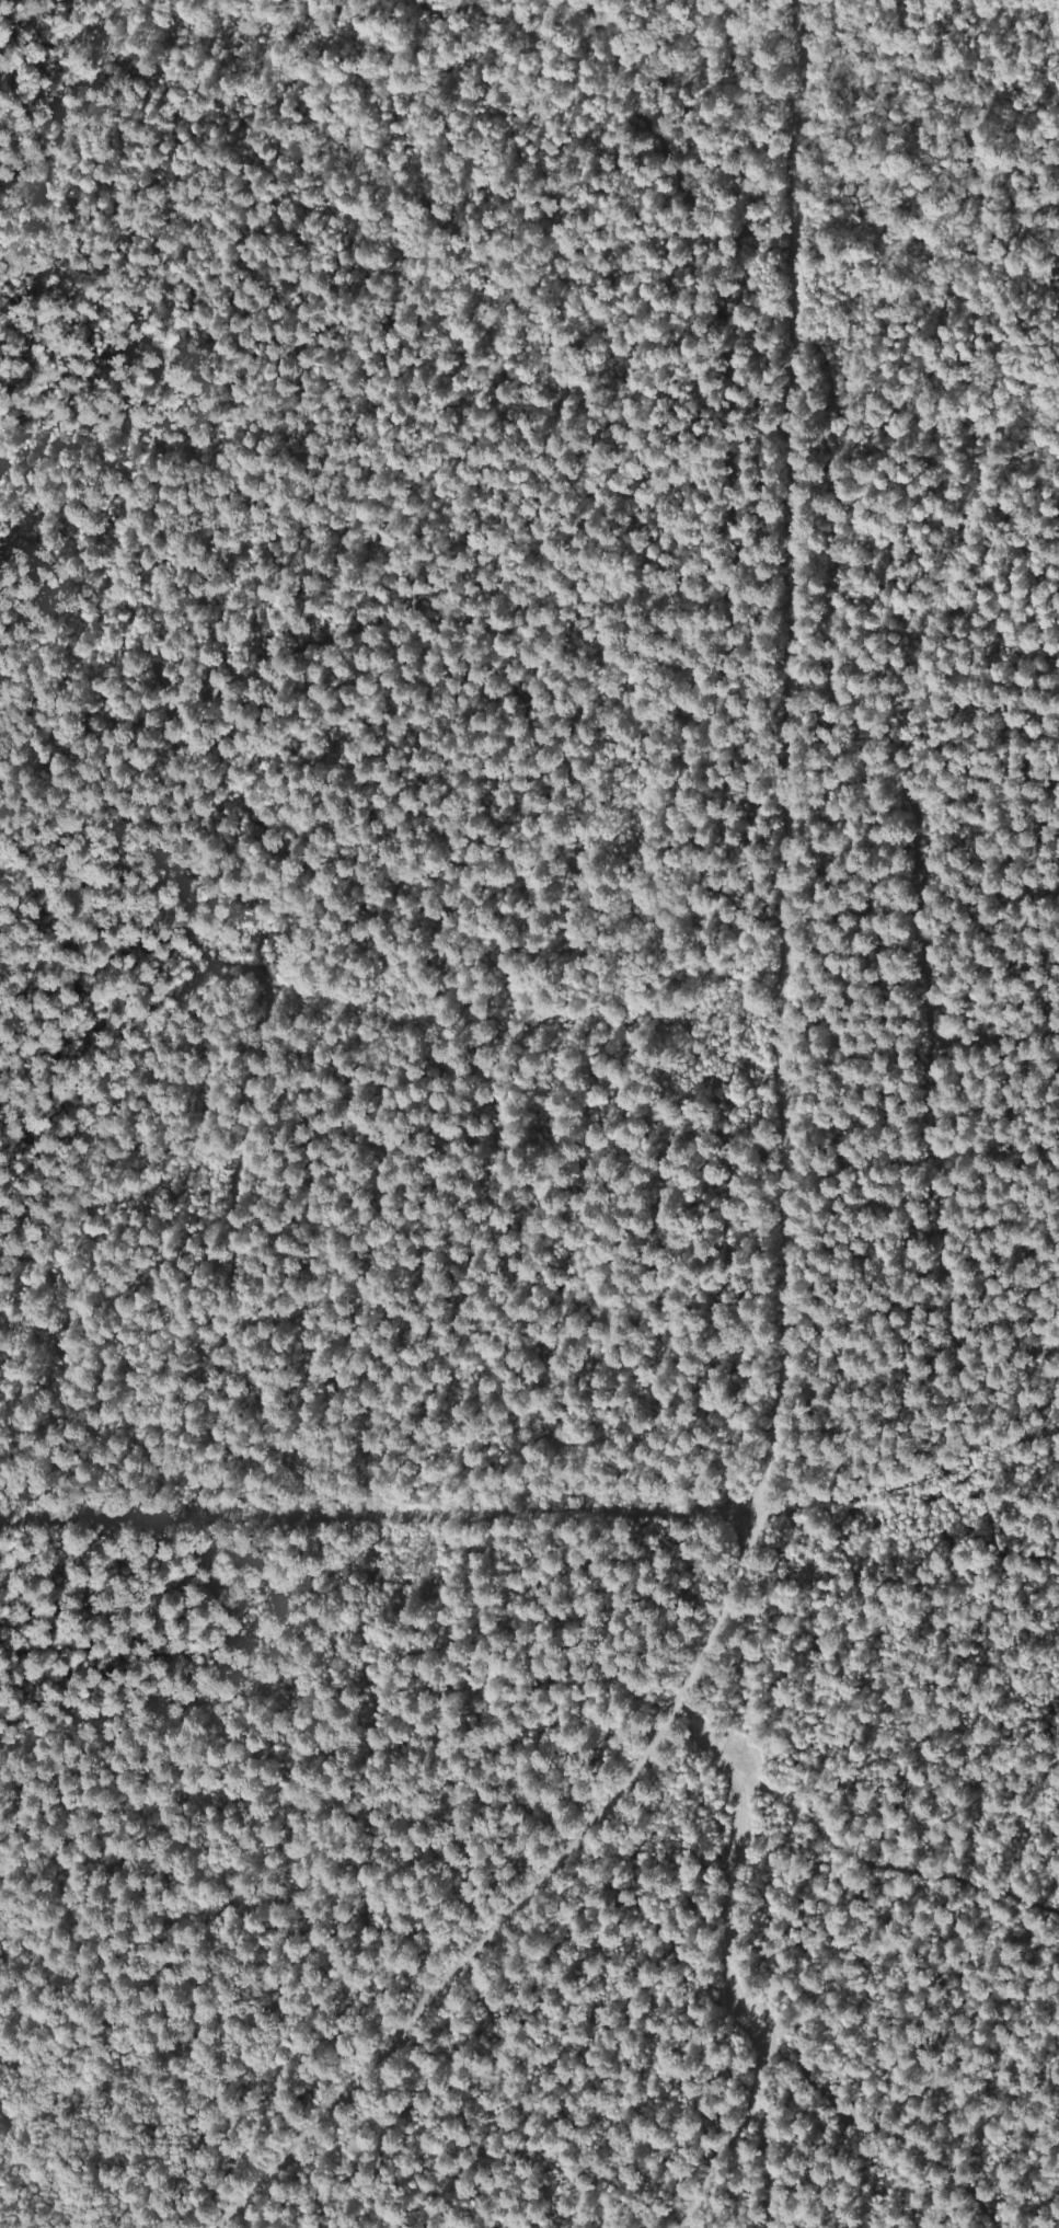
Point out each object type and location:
road: (779, 1207)
road: (357, 1521)

